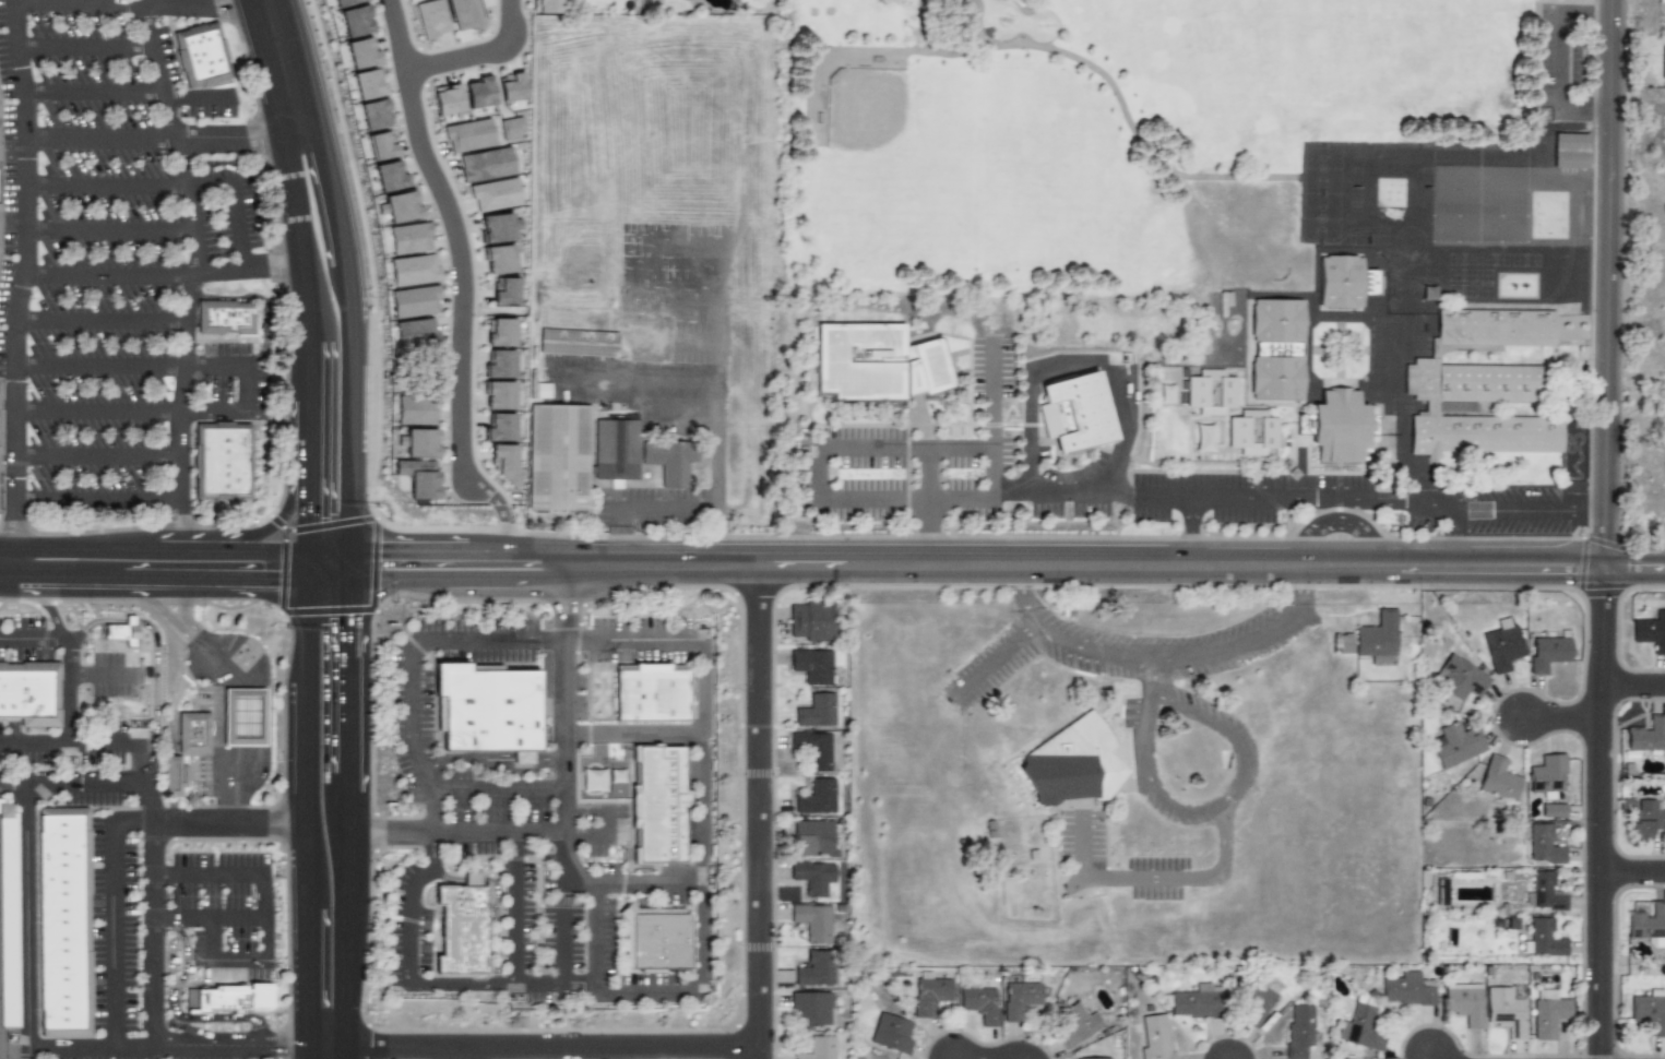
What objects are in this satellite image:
building: (343, 2)
building: (545, 5)
building: (465, 14)
building: (432, 17)
building: (355, 21)
road: (84, 45)
building: (361, 52)
road: (475, 53)
building: (201, 56)
building: (1663, 60)
road: (1563, 62)
road: (283, 63)
street lamp: (326, 69)
building: (367, 83)
building: (511, 86)
road: (95, 92)
building: (478, 92)
building: (447, 99)
road: (197, 102)
building: (374, 114)
building: (510, 128)
park: (889, 131)
building: (468, 135)
road: (163, 138)
park: (1117, 140)
building: (381, 145)
road: (180, 147)
building: (1570, 151)
building: (485, 164)
road: (25, 165)
building: (389, 175)
road: (170, 186)
building: (495, 194)
building: (402, 206)
building: (498, 227)
road: (298, 229)
road: (109, 230)
road: (452, 235)
building: (409, 238)
building: (498, 259)
building: (414, 270)
road: (164, 276)
building: (1341, 282)
road: (1612, 284)
building: (504, 290)
road: (266, 299)
street lamp: (362, 300)
building: (415, 301)
road: (716, 305)
building: (224, 320)
road: (103, 322)
building: (1500, 328)
building: (500, 332)
building: (416, 333)
road: (347, 342)
building: (579, 342)
road: (697, 342)
building: (1276, 348)
building: (876, 361)
building: (499, 364)
road: (308, 365)
road: (102, 366)
road: (216, 366)
road: (632, 381)
building: (542, 390)
building: (1211, 391)
building: (498, 394)
building: (1431, 408)
building: (415, 410)
building: (1074, 412)
road: (155, 413)
road: (643, 414)
street lamp: (284, 420)
road: (308, 421)
road: (181, 424)
road: (691, 424)
building: (1303, 424)
building: (1340, 426)
building: (499, 427)
building: (1252, 432)
building: (420, 442)
road: (952, 449)
building: (592, 455)
road: (99, 457)
building: (503, 462)
building: (222, 463)
road: (1408, 471)
building: (419, 477)
parking lot: (454, 485)
road: (1369, 496)
road: (1059, 497)
road: (1149, 498)
road: (97, 501)
road: (308, 501)
road: (669, 508)
road: (280, 514)
street lamp: (367, 514)
road: (500, 514)
traffic signals: (309, 520)
road: (1456, 535)
street lamp: (285, 539)
road: (100, 548)
road: (188, 549)
road: (263, 550)
road: (23, 561)
road: (329, 561)
road: (309, 564)
road: (427, 566)
road: (536, 566)
road: (1087, 566)
traffic signals: (384, 567)
road: (1636, 568)
road: (328, 569)
road: (176, 576)
traffic signals: (272, 578)
road: (52, 596)
street lamp: (394, 603)
building: (810, 620)
traffic signals: (348, 622)
street lamp: (290, 630)
building: (1651, 630)
building: (121, 631)
road: (194, 634)
building: (1371, 638)
road: (154, 641)
road: (690, 641)
building: (1503, 645)
building: (1548, 652)
road: (71, 657)
road: (994, 659)
road: (1162, 661)
building: (813, 665)
road: (348, 668)
road: (104, 674)
building: (1460, 677)
road: (1633, 686)
building: (28, 694)
building: (651, 695)
road: (178, 699)
road: (567, 699)
building: (817, 709)
building: (488, 710)
road: (266, 712)
road: (237, 715)
building: (245, 715)
gas station: (245, 715)
road: (1563, 718)
road: (216, 722)
road: (633, 734)
building: (1648, 734)
building: (199, 735)
building: (1458, 742)
building: (816, 748)
road: (493, 759)
building: (1071, 763)
building: (1548, 774)
road: (174, 777)
building: (179, 777)
building: (593, 780)
building: (1498, 780)
road: (348, 781)
road: (233, 782)
road: (72, 784)
road: (500, 790)
building: (817, 796)
road: (1228, 799)
building: (657, 808)
building: (1553, 809)
road: (174, 810)
road: (307, 811)
road: (348, 811)
road: (762, 812)
road: (1602, 812)
road: (611, 820)
building: (1644, 821)
road: (154, 822)
road: (230, 822)
road: (457, 832)
building: (813, 837)
building: (1542, 843)
road: (1633, 872)
road: (1157, 874)
road: (253, 876)
building: (812, 876)
road: (610, 889)
building: (1544, 892)
road: (498, 901)
road: (515, 907)
road: (115, 914)
road: (27, 916)
road: (210, 919)
building: (11, 920)
building: (813, 921)
building: (1649, 923)
building: (62, 924)
road: (563, 928)
building: (459, 929)
road: (596, 936)
building: (1544, 938)
road: (346, 941)
building: (658, 942)
road: (169, 951)
road: (217, 962)
building: (816, 968)
road: (424, 984)
building: (1407, 988)
building: (931, 992)
building: (1019, 998)
building: (1257, 998)
building: (228, 1000)
building: (1464, 1002)
building: (982, 1003)
building: (812, 1007)
building: (1650, 1010)
building: (1506, 1011)
building: (1548, 1012)
road: (186, 1019)
building: (1078, 1024)
building: (1361, 1027)
building: (1299, 1030)
building: (890, 1032)
building: (1155, 1038)
road: (178, 1046)
building: (817, 1047)
road: (14, 1048)
road: (545, 1048)
road: (328, 1052)
road: (463, 1054)
building: (1090, 1058)
road: (1436, 1058)

